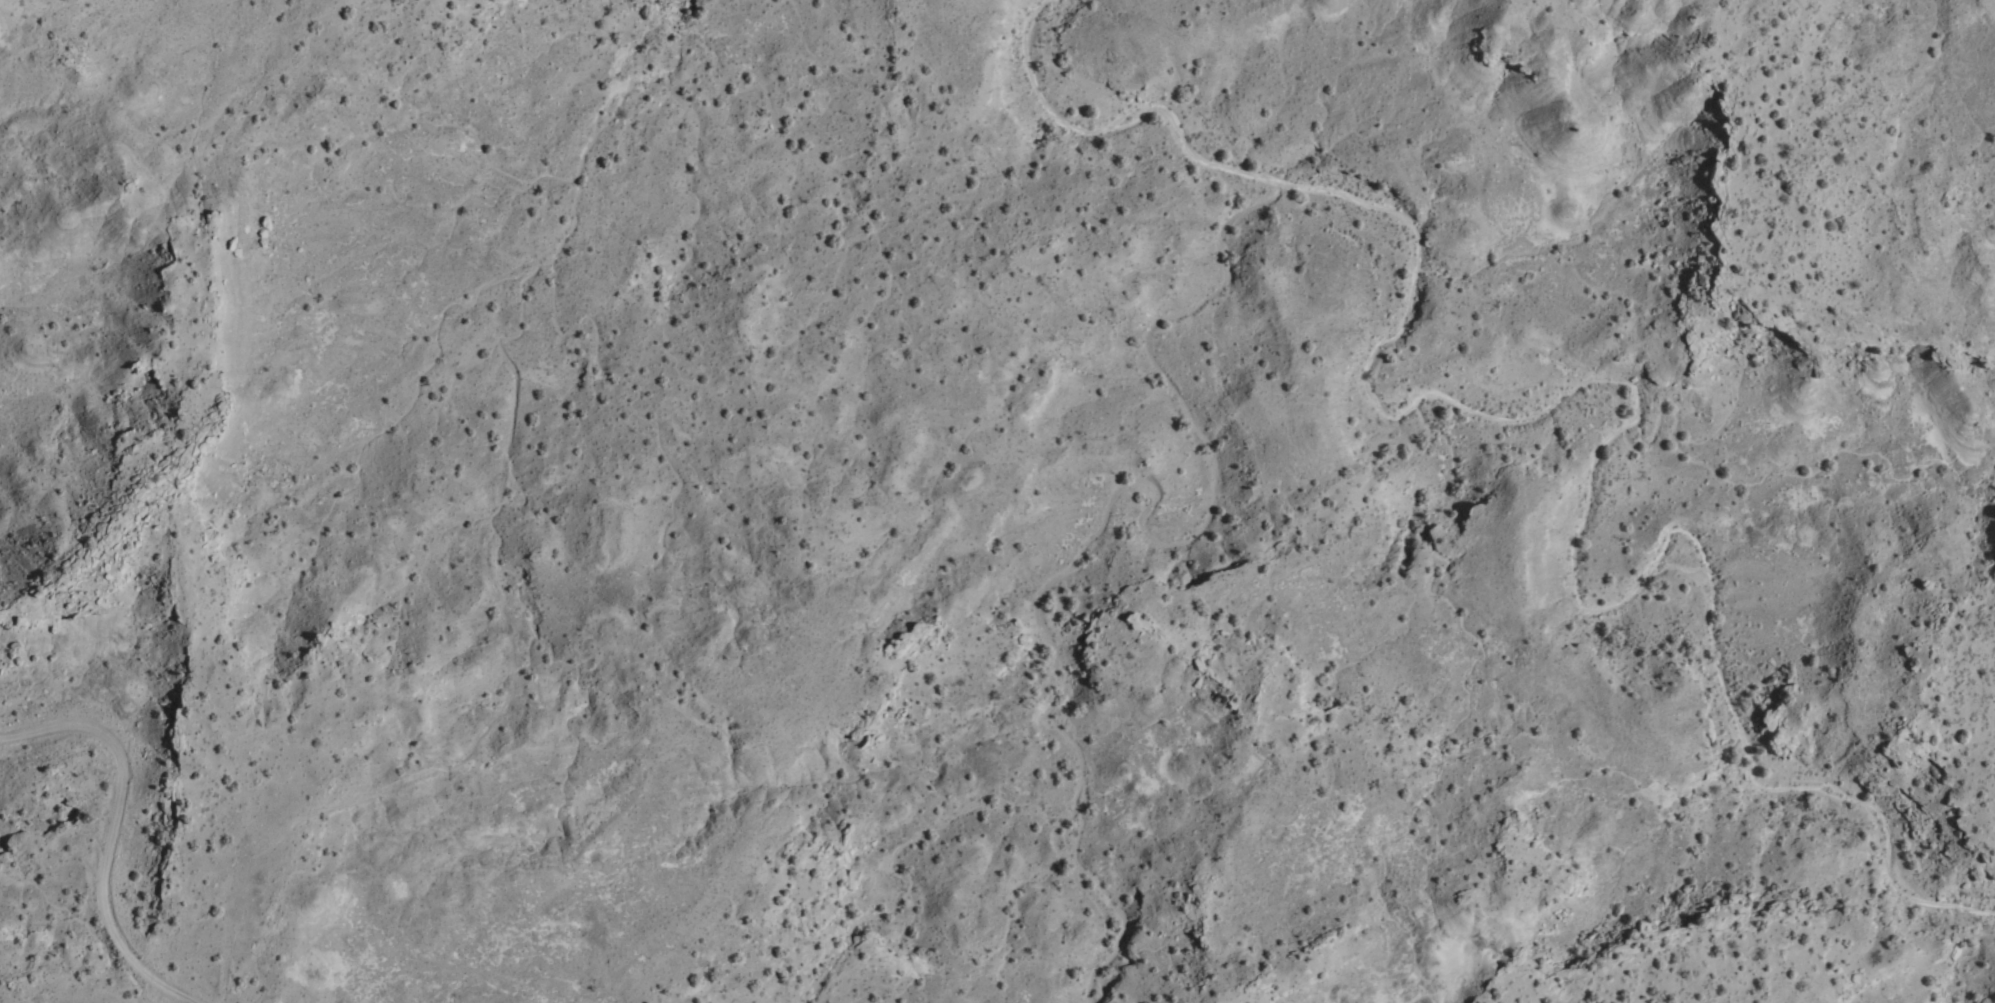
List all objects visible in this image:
road: (458, 479)

